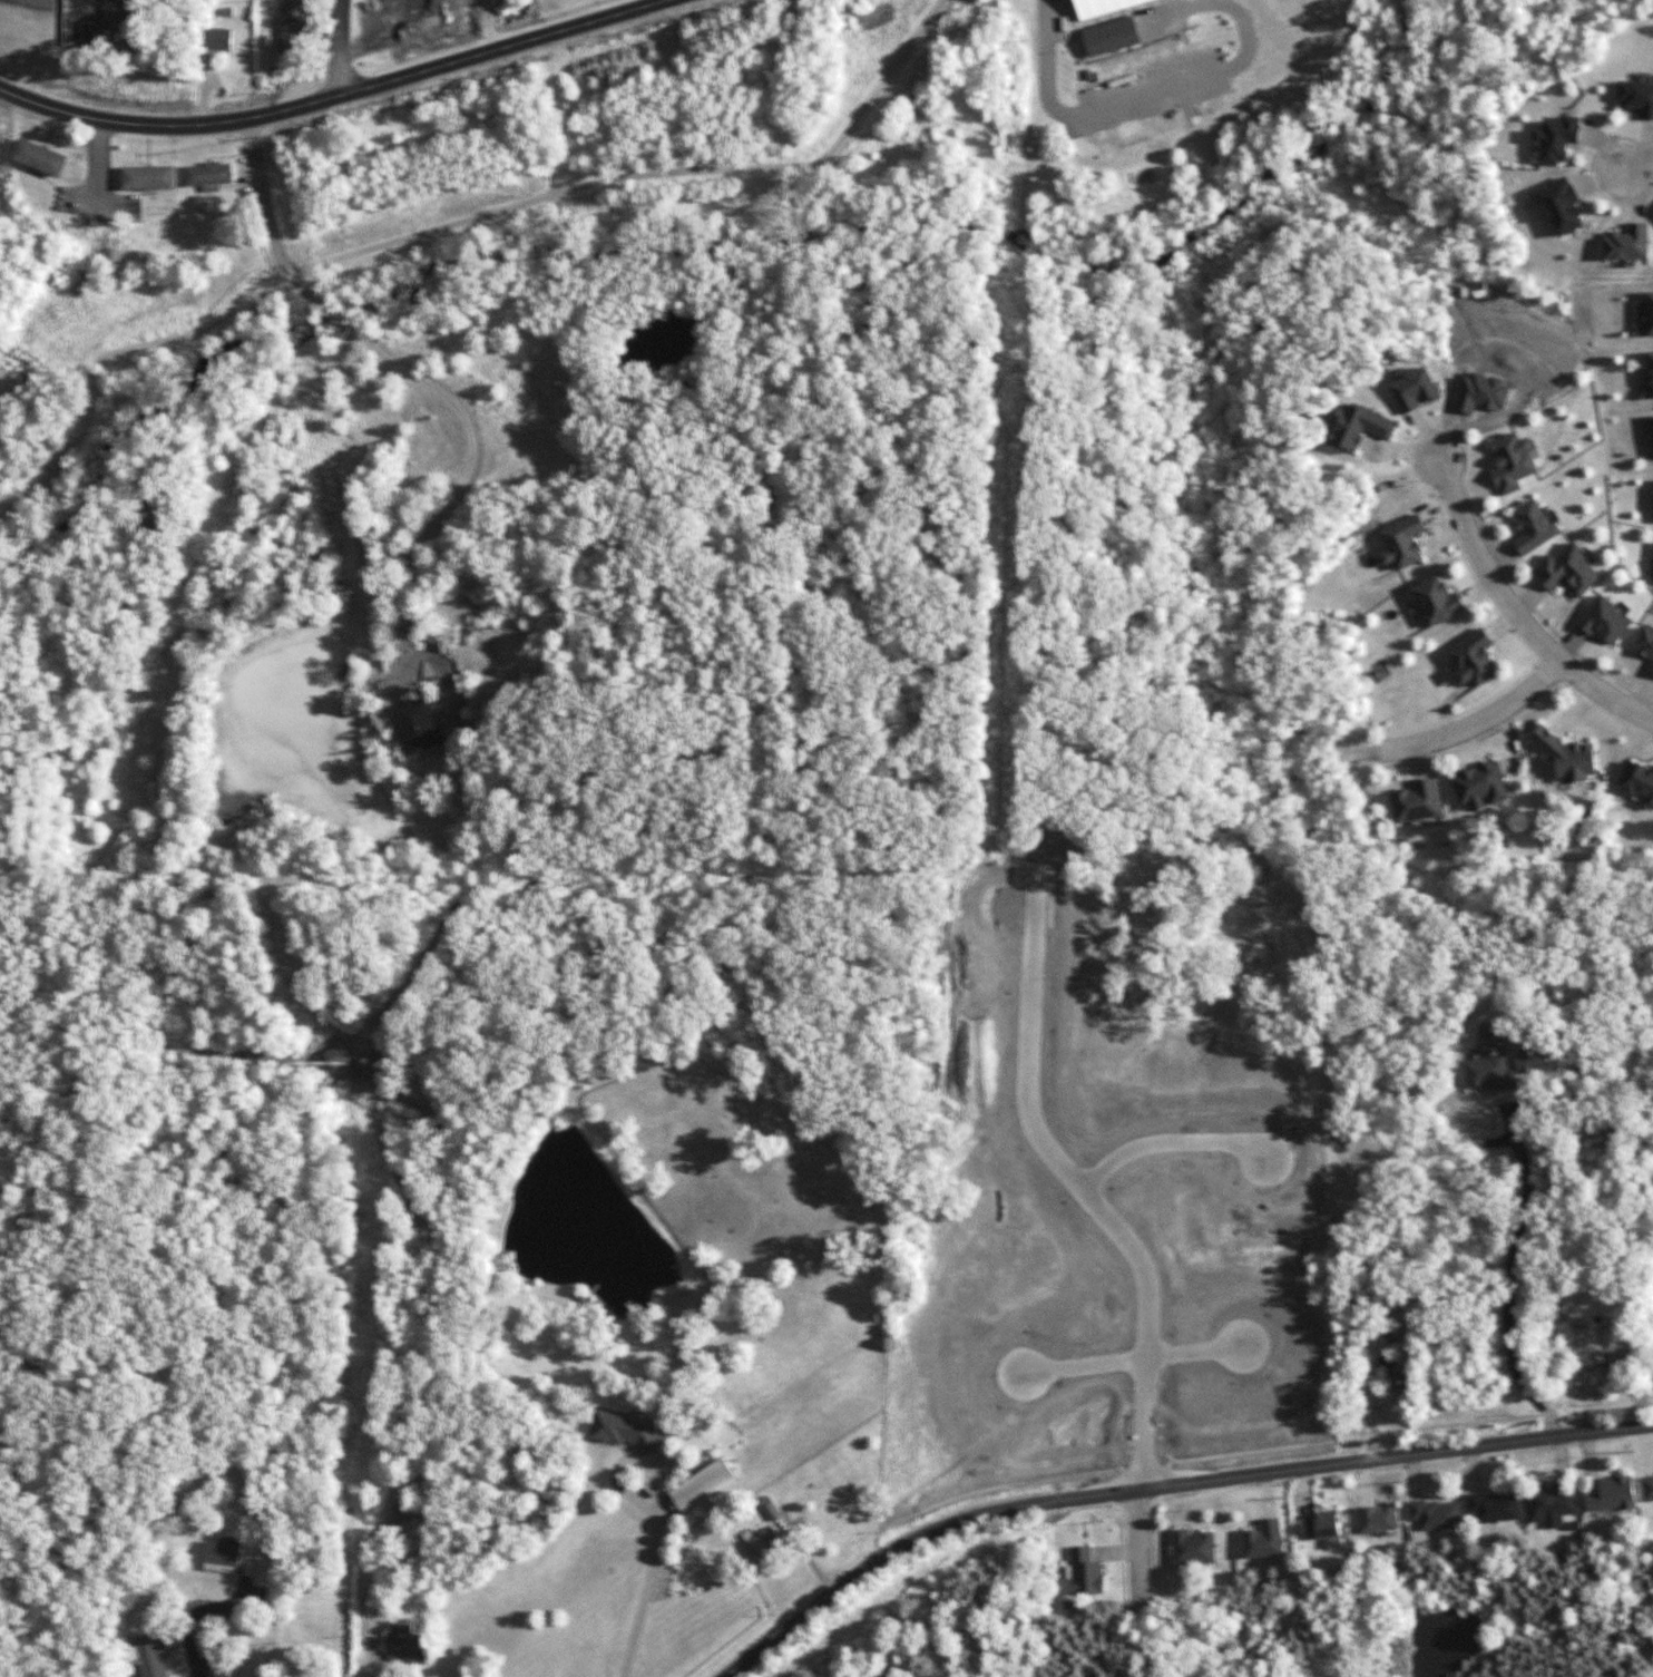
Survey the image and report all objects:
building: (1101, 6)
building: (293, 27)
building: (1111, 37)
building: (218, 39)
road: (340, 48)
road: (336, 96)
building: (1636, 97)
building: (1556, 139)
building: (40, 157)
road: (1639, 164)
building: (209, 176)
building: (148, 177)
building: (1558, 206)
road: (265, 221)
road: (451, 225)
building: (1626, 243)
road: (333, 311)
building: (1651, 312)
building: (1651, 371)
building: (1414, 390)
building: (1356, 427)
building: (1513, 461)
road: (461, 497)
building: (1533, 527)
building: (1401, 543)
building: (1567, 571)
building: (1436, 602)
road: (1516, 614)
building: (1604, 621)
building: (1645, 646)
building: (1473, 659)
building: (420, 725)
road: (1460, 730)
building: (1565, 755)
building: (1637, 782)
building: (1480, 786)
building: (1417, 801)
building: (336, 1056)
building: (1488, 1072)
road: (1509, 1270)
building: (1109, 1277)
building: (1611, 1365)
building: (1396, 1378)
building: (1143, 1398)
building: (625, 1431)
building: (703, 1485)
building: (1646, 1486)
road: (1164, 1488)
building: (1611, 1494)
building: (401, 1505)
building: (1549, 1505)
building: (769, 1508)
building: (1494, 1508)
building: (1435, 1515)
building: (1377, 1519)
building: (1319, 1527)
building: (1262, 1540)
building: (762, 1546)
building: (1192, 1548)
road: (1143, 1553)
building: (222, 1554)
road: (809, 1559)
road: (647, 1567)
building: (1084, 1571)
building: (1652, 1573)
road: (368, 1592)
road: (218, 1625)
building: (405, 1645)
building: (153, 1656)

